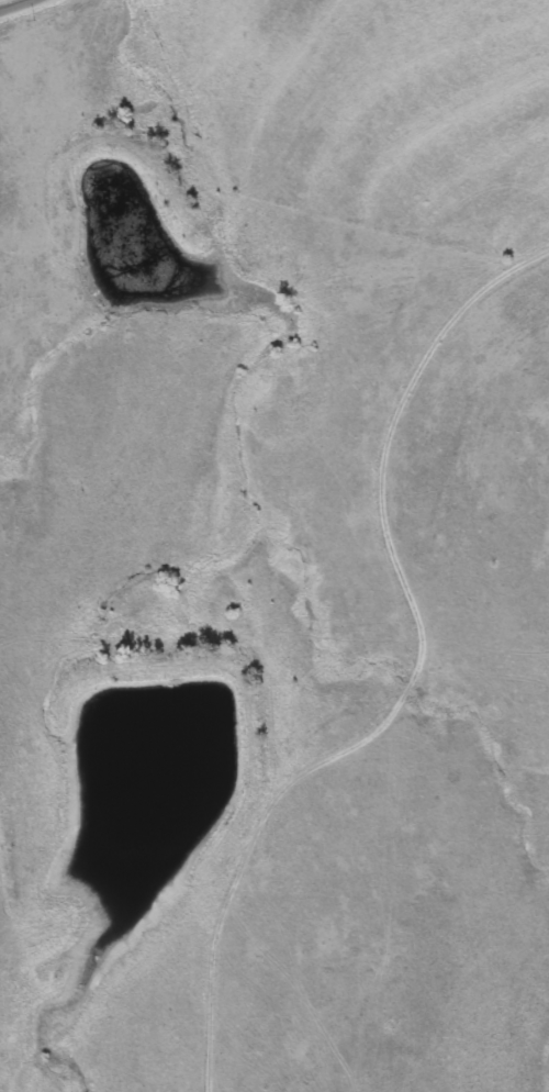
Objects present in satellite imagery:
road: (18, 5)
road: (418, 676)

